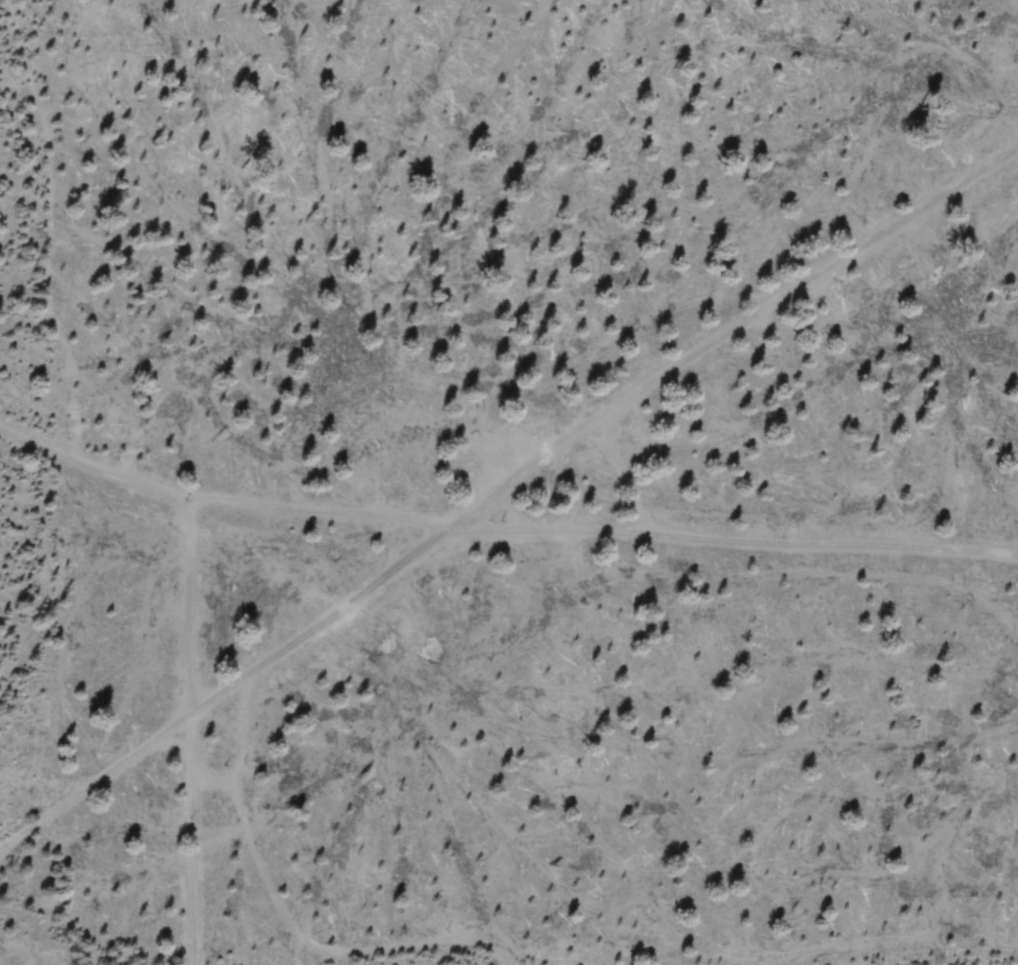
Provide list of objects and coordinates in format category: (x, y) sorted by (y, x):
road: (53, 226)
road: (509, 496)
road: (502, 531)
road: (189, 733)
road: (309, 940)

